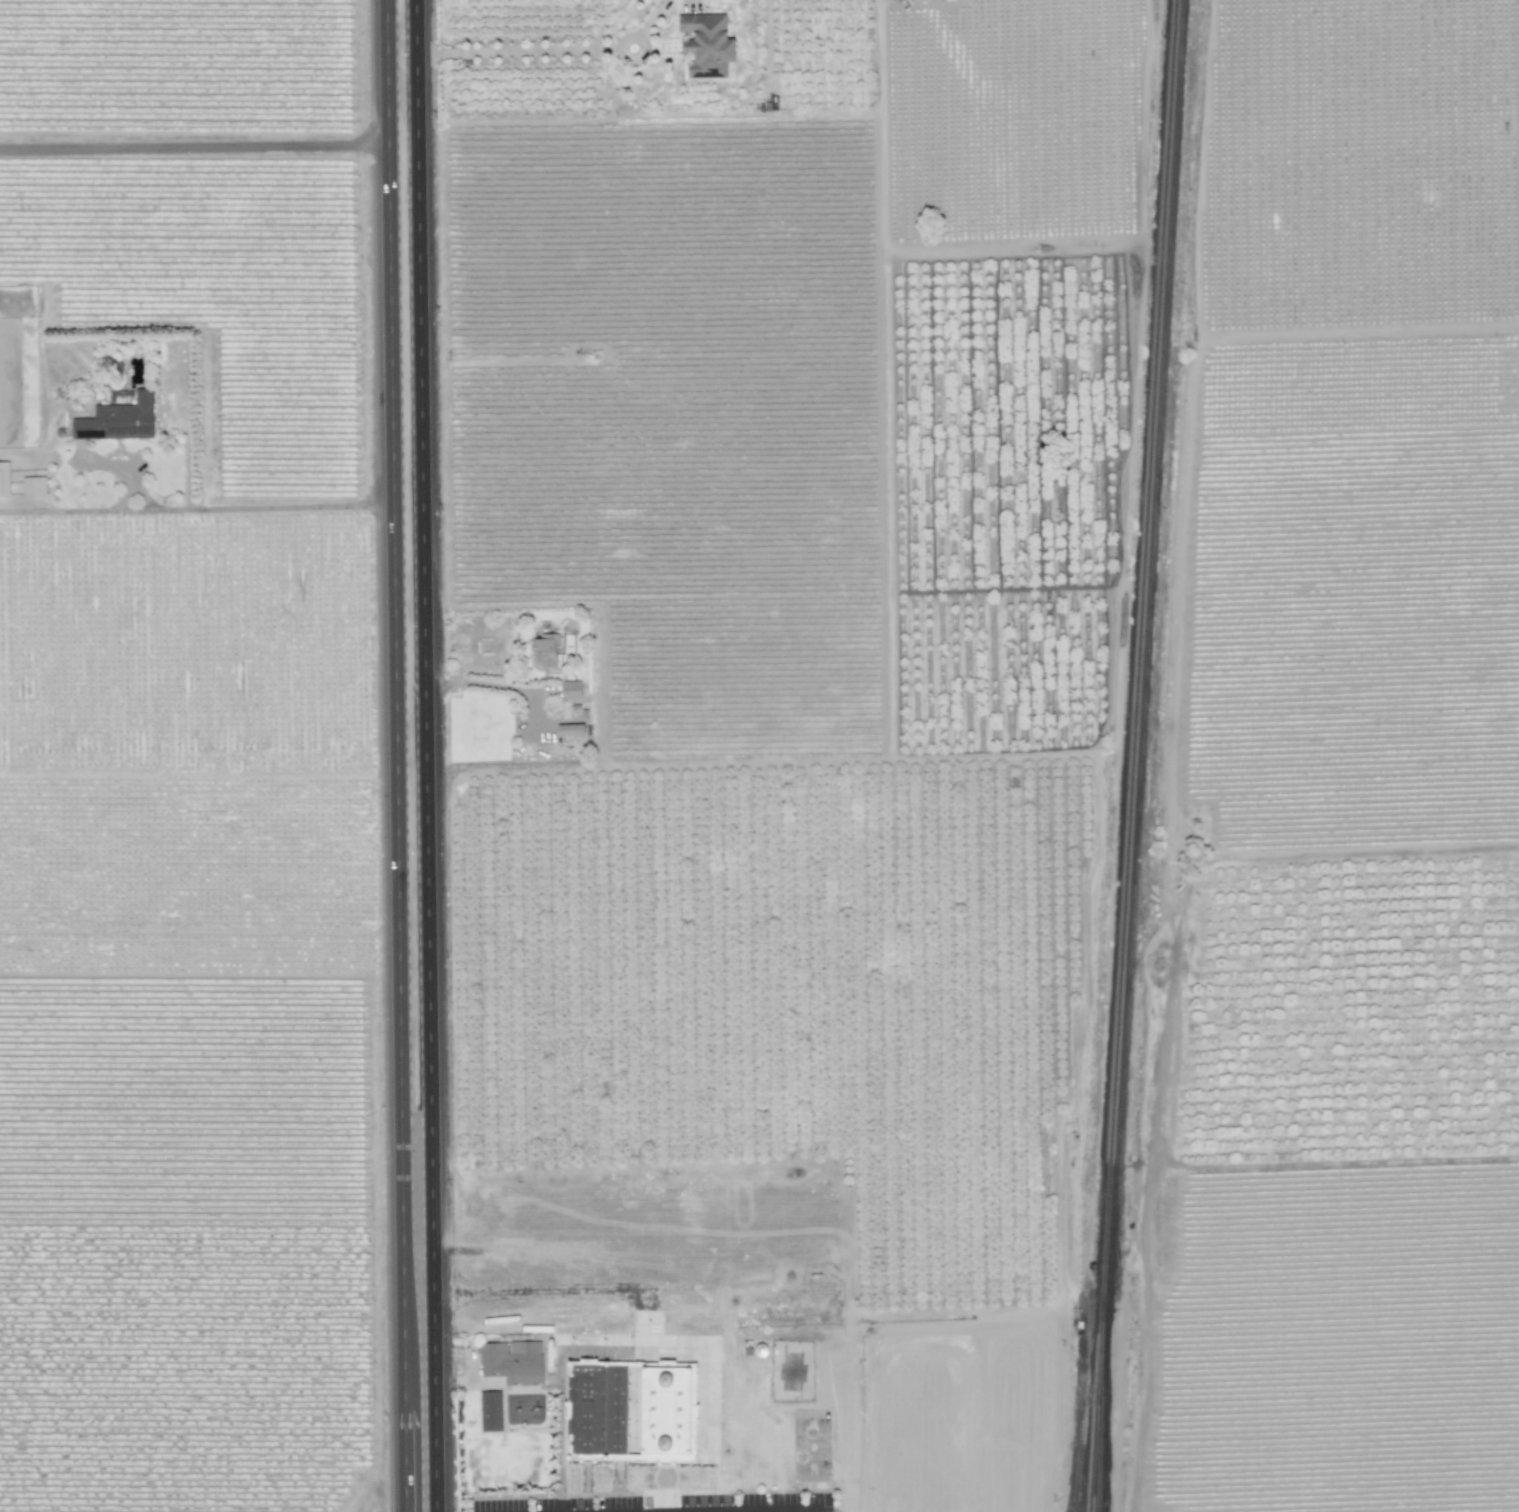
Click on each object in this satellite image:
road: (640, 25)
road: (517, 45)
building: (705, 45)
road: (195, 148)
building: (117, 420)
building: (4, 479)
building: (33, 486)
road: (195, 510)
railway: (1144, 649)
building: (544, 650)
road: (488, 685)
building: (570, 689)
building: (569, 730)
road: (395, 756)
road: (430, 756)
building: (511, 1361)
railway: (1102, 1405)
railway: (1105, 1405)
building: (490, 1411)
building: (628, 1412)
road: (654, 1500)
road: (755, 1510)
road: (815, 1510)

